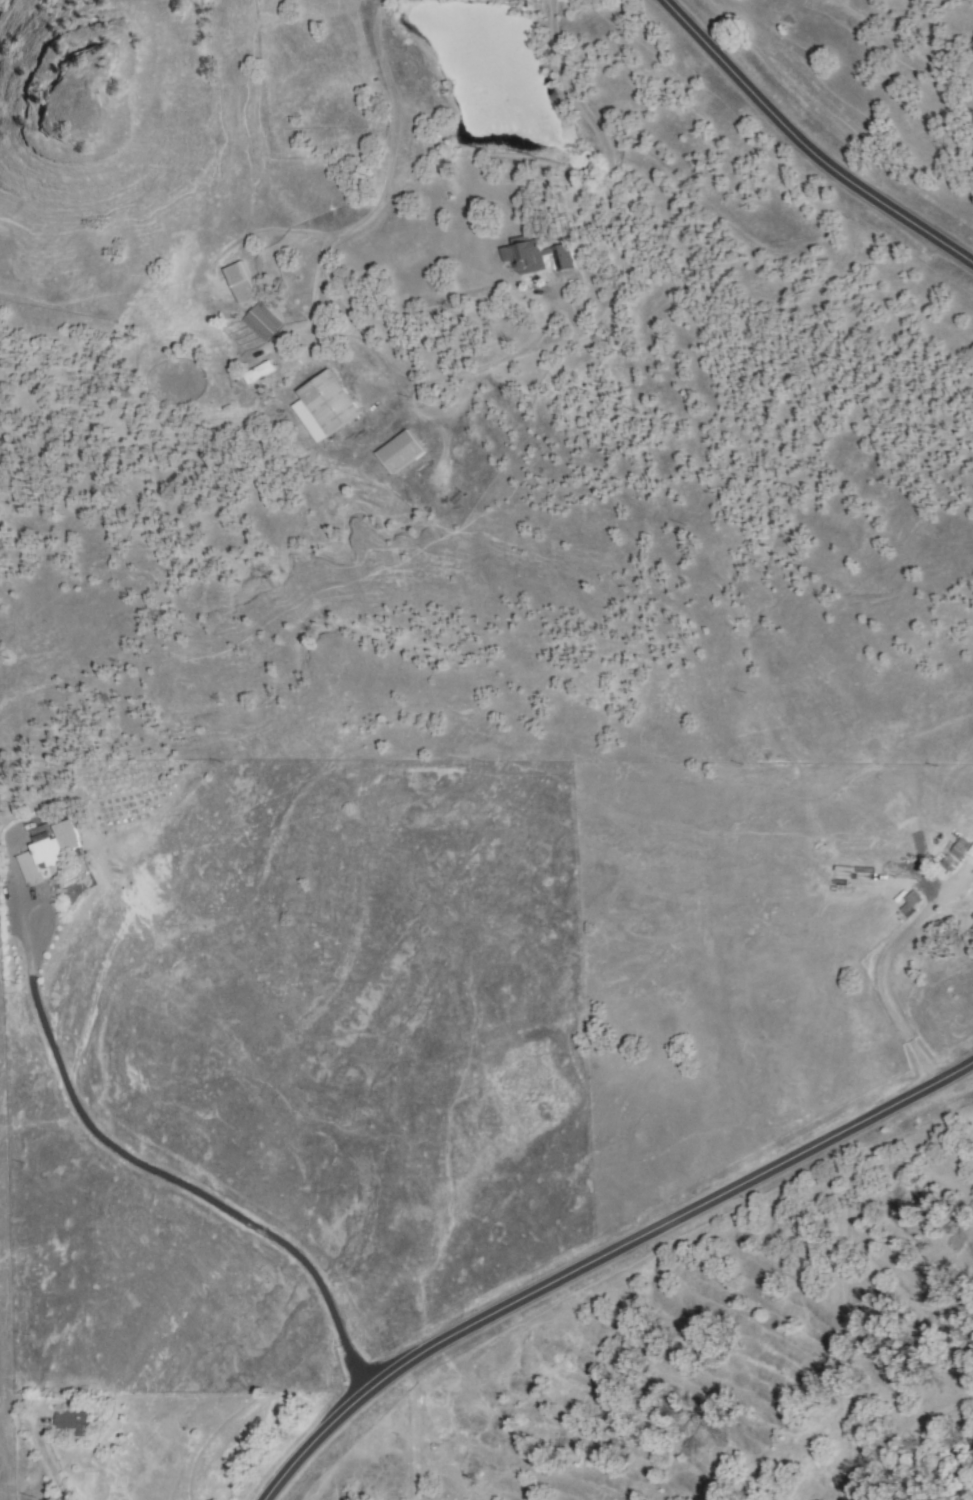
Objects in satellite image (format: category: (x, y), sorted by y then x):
road: (389, 138)
road: (804, 147)
road: (254, 235)
building: (537, 255)
building: (242, 284)
building: (263, 322)
road: (590, 325)
building: (260, 372)
building: (326, 406)
building: (400, 452)
building: (55, 842)
building: (971, 850)
building: (29, 867)
road: (885, 989)
road: (161, 1171)
road: (601, 1257)
building: (72, 1421)
road: (49, 1459)

